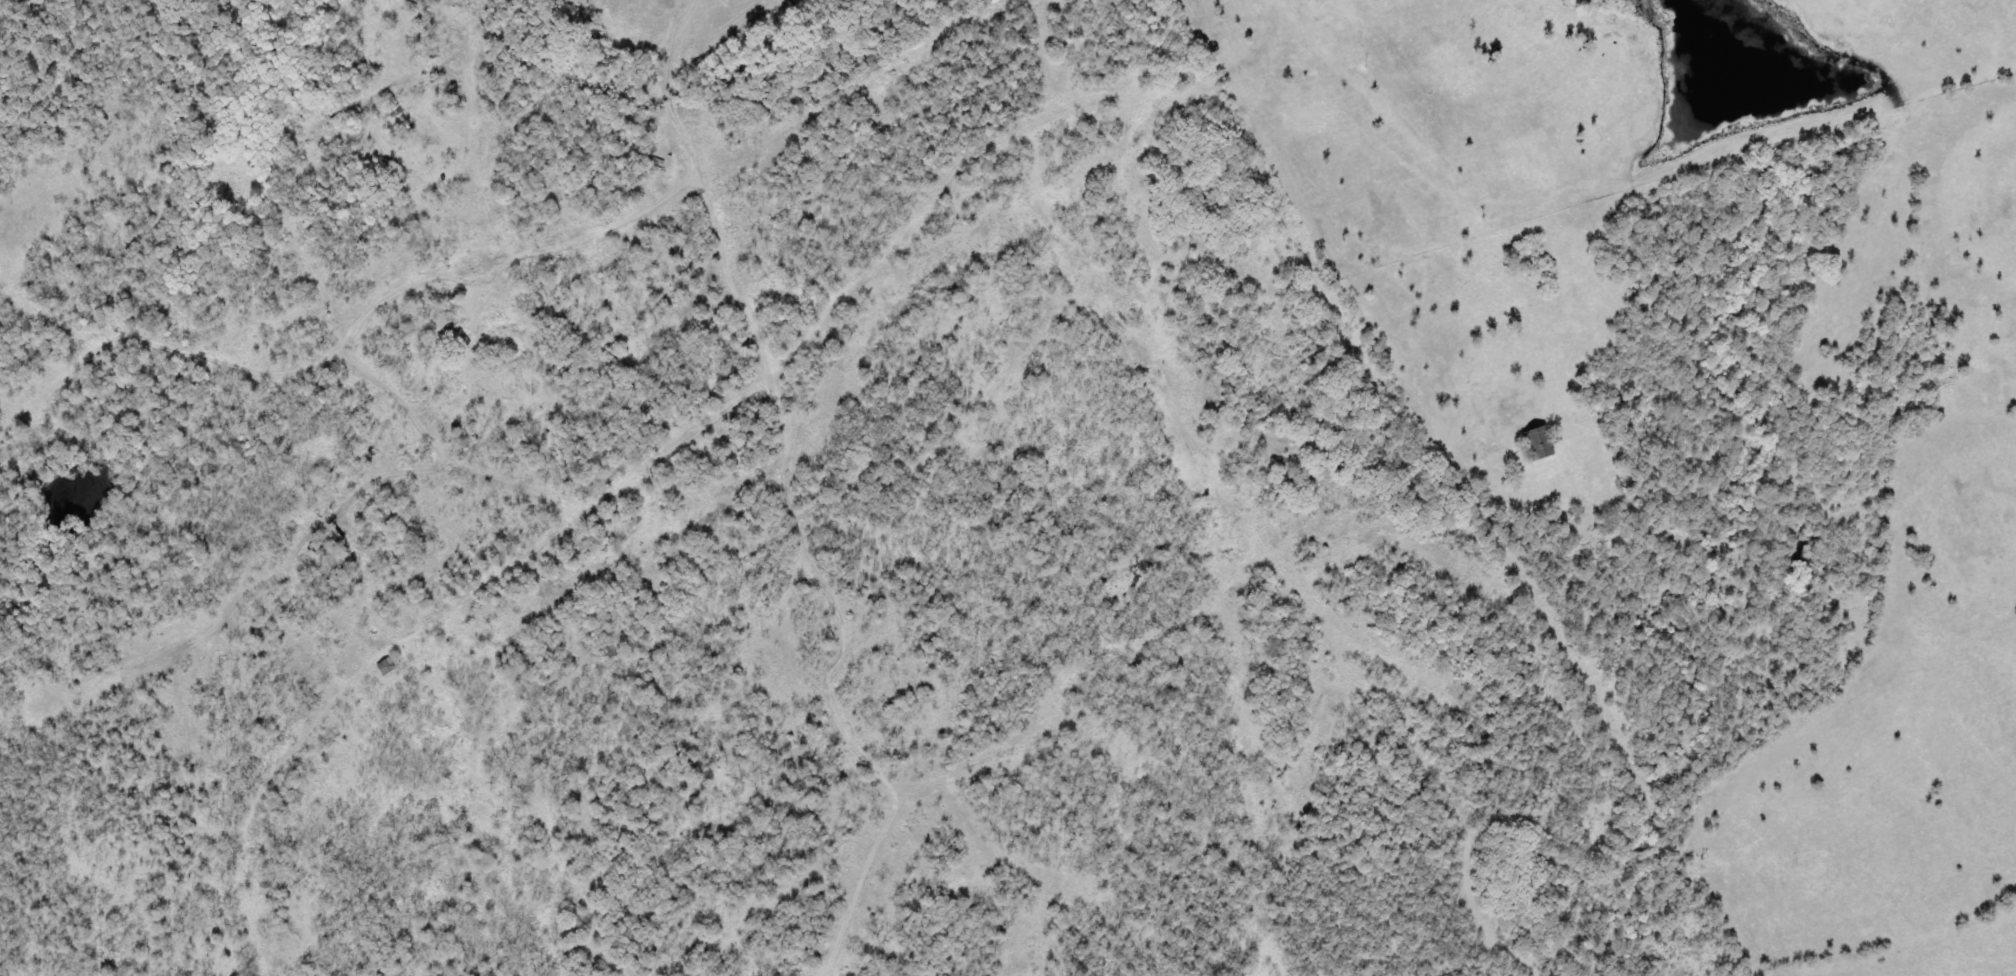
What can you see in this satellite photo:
building: (1533, 443)
building: (326, 541)

